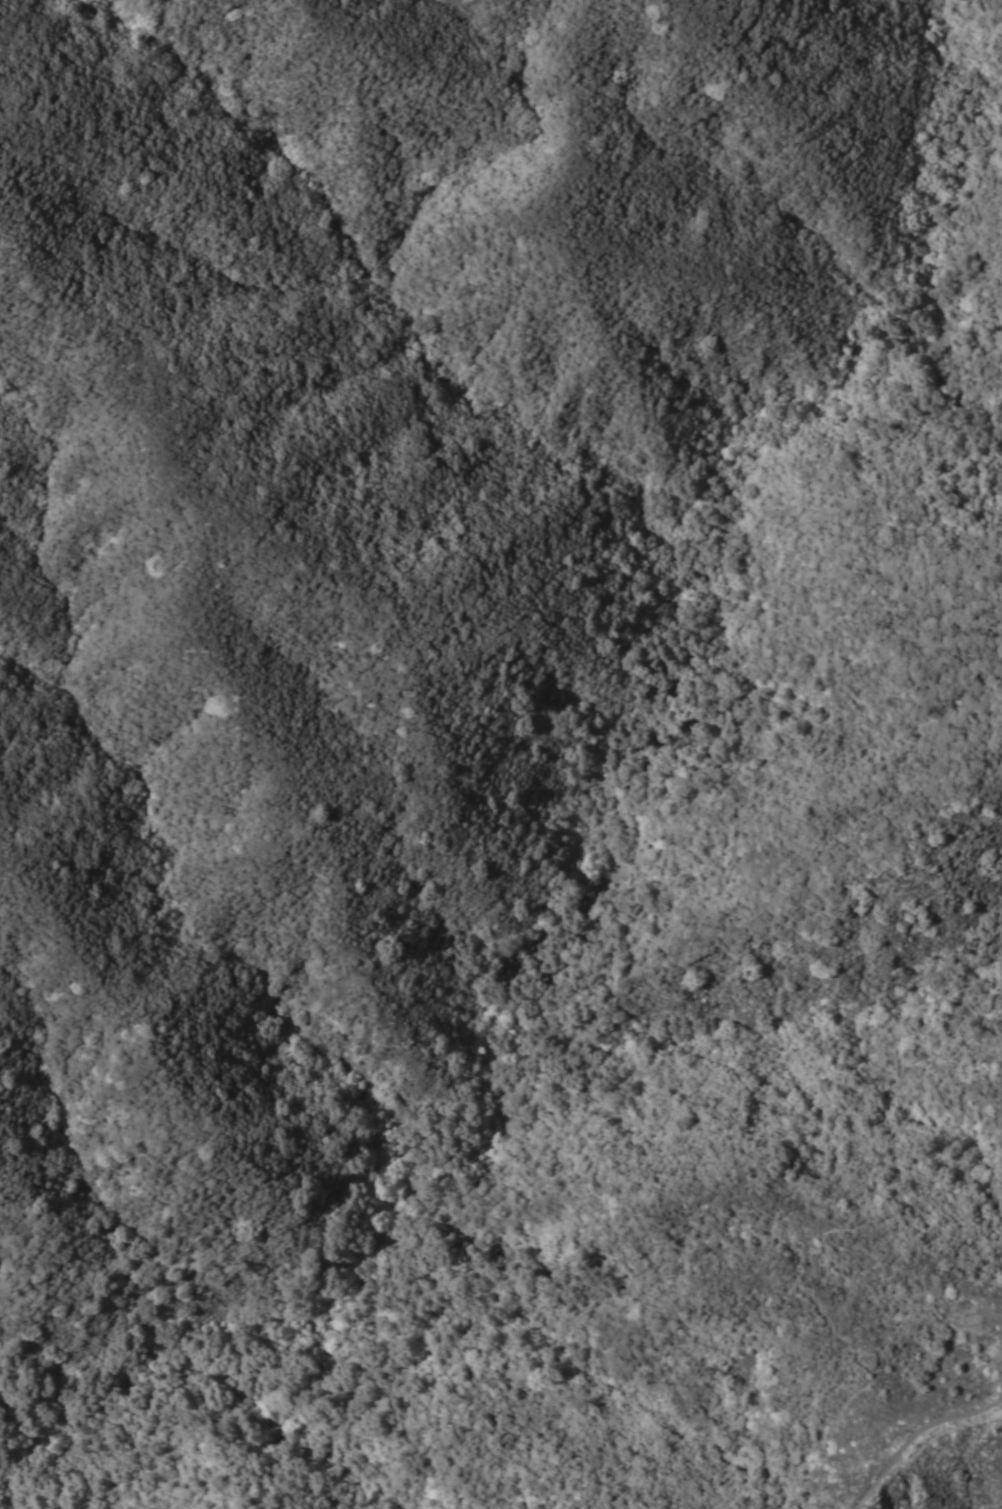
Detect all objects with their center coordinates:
road: (915, 1435)

